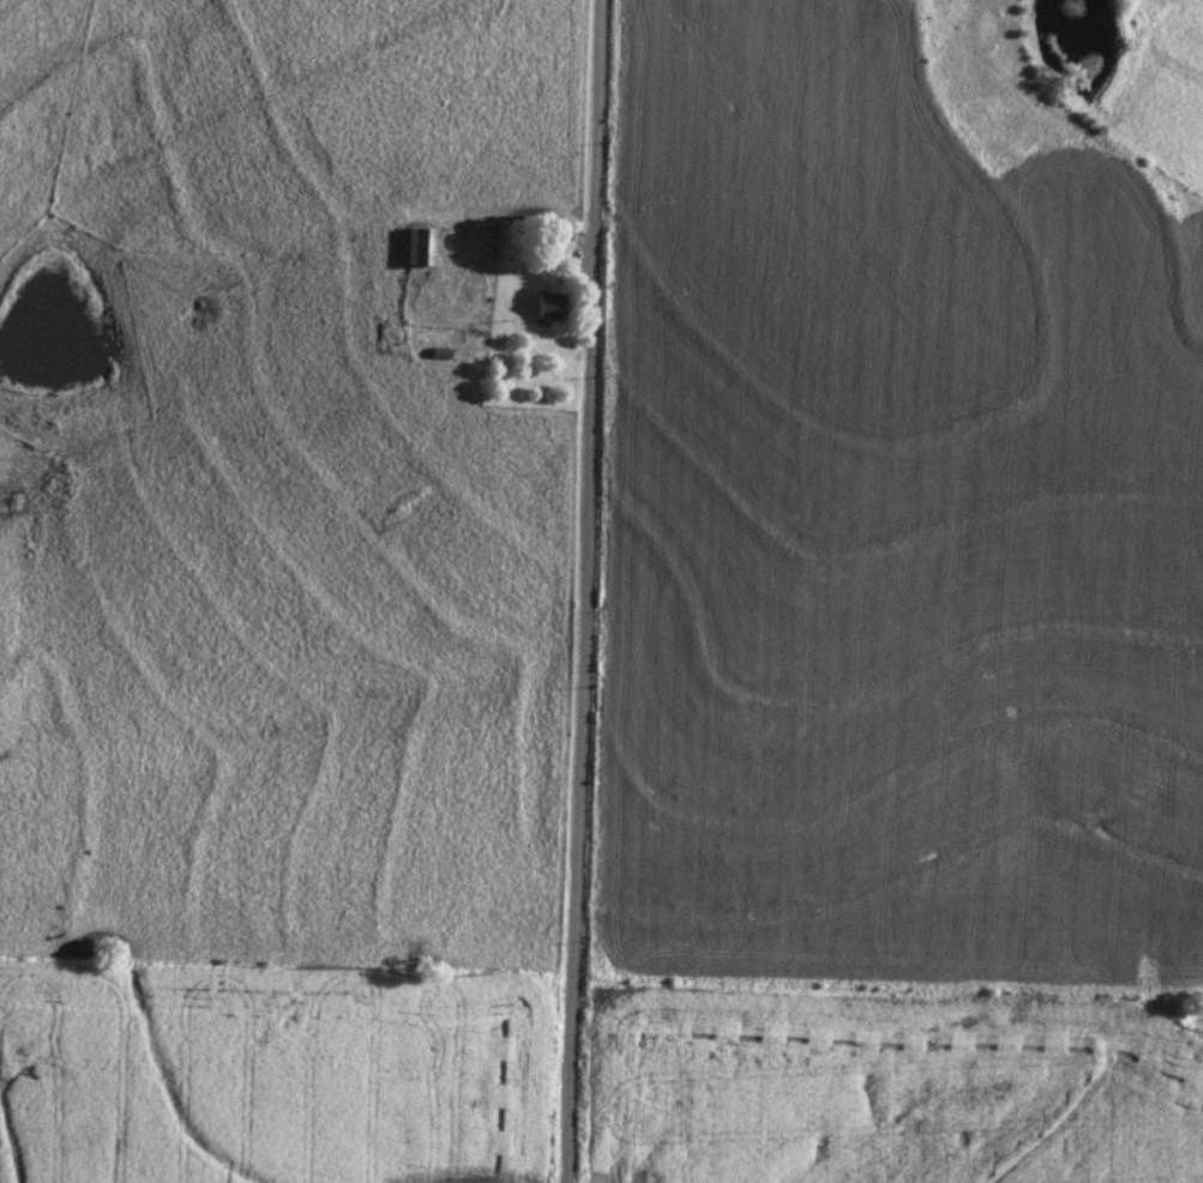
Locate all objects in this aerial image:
building: (420, 248)
building: (548, 308)
road: (582, 591)

